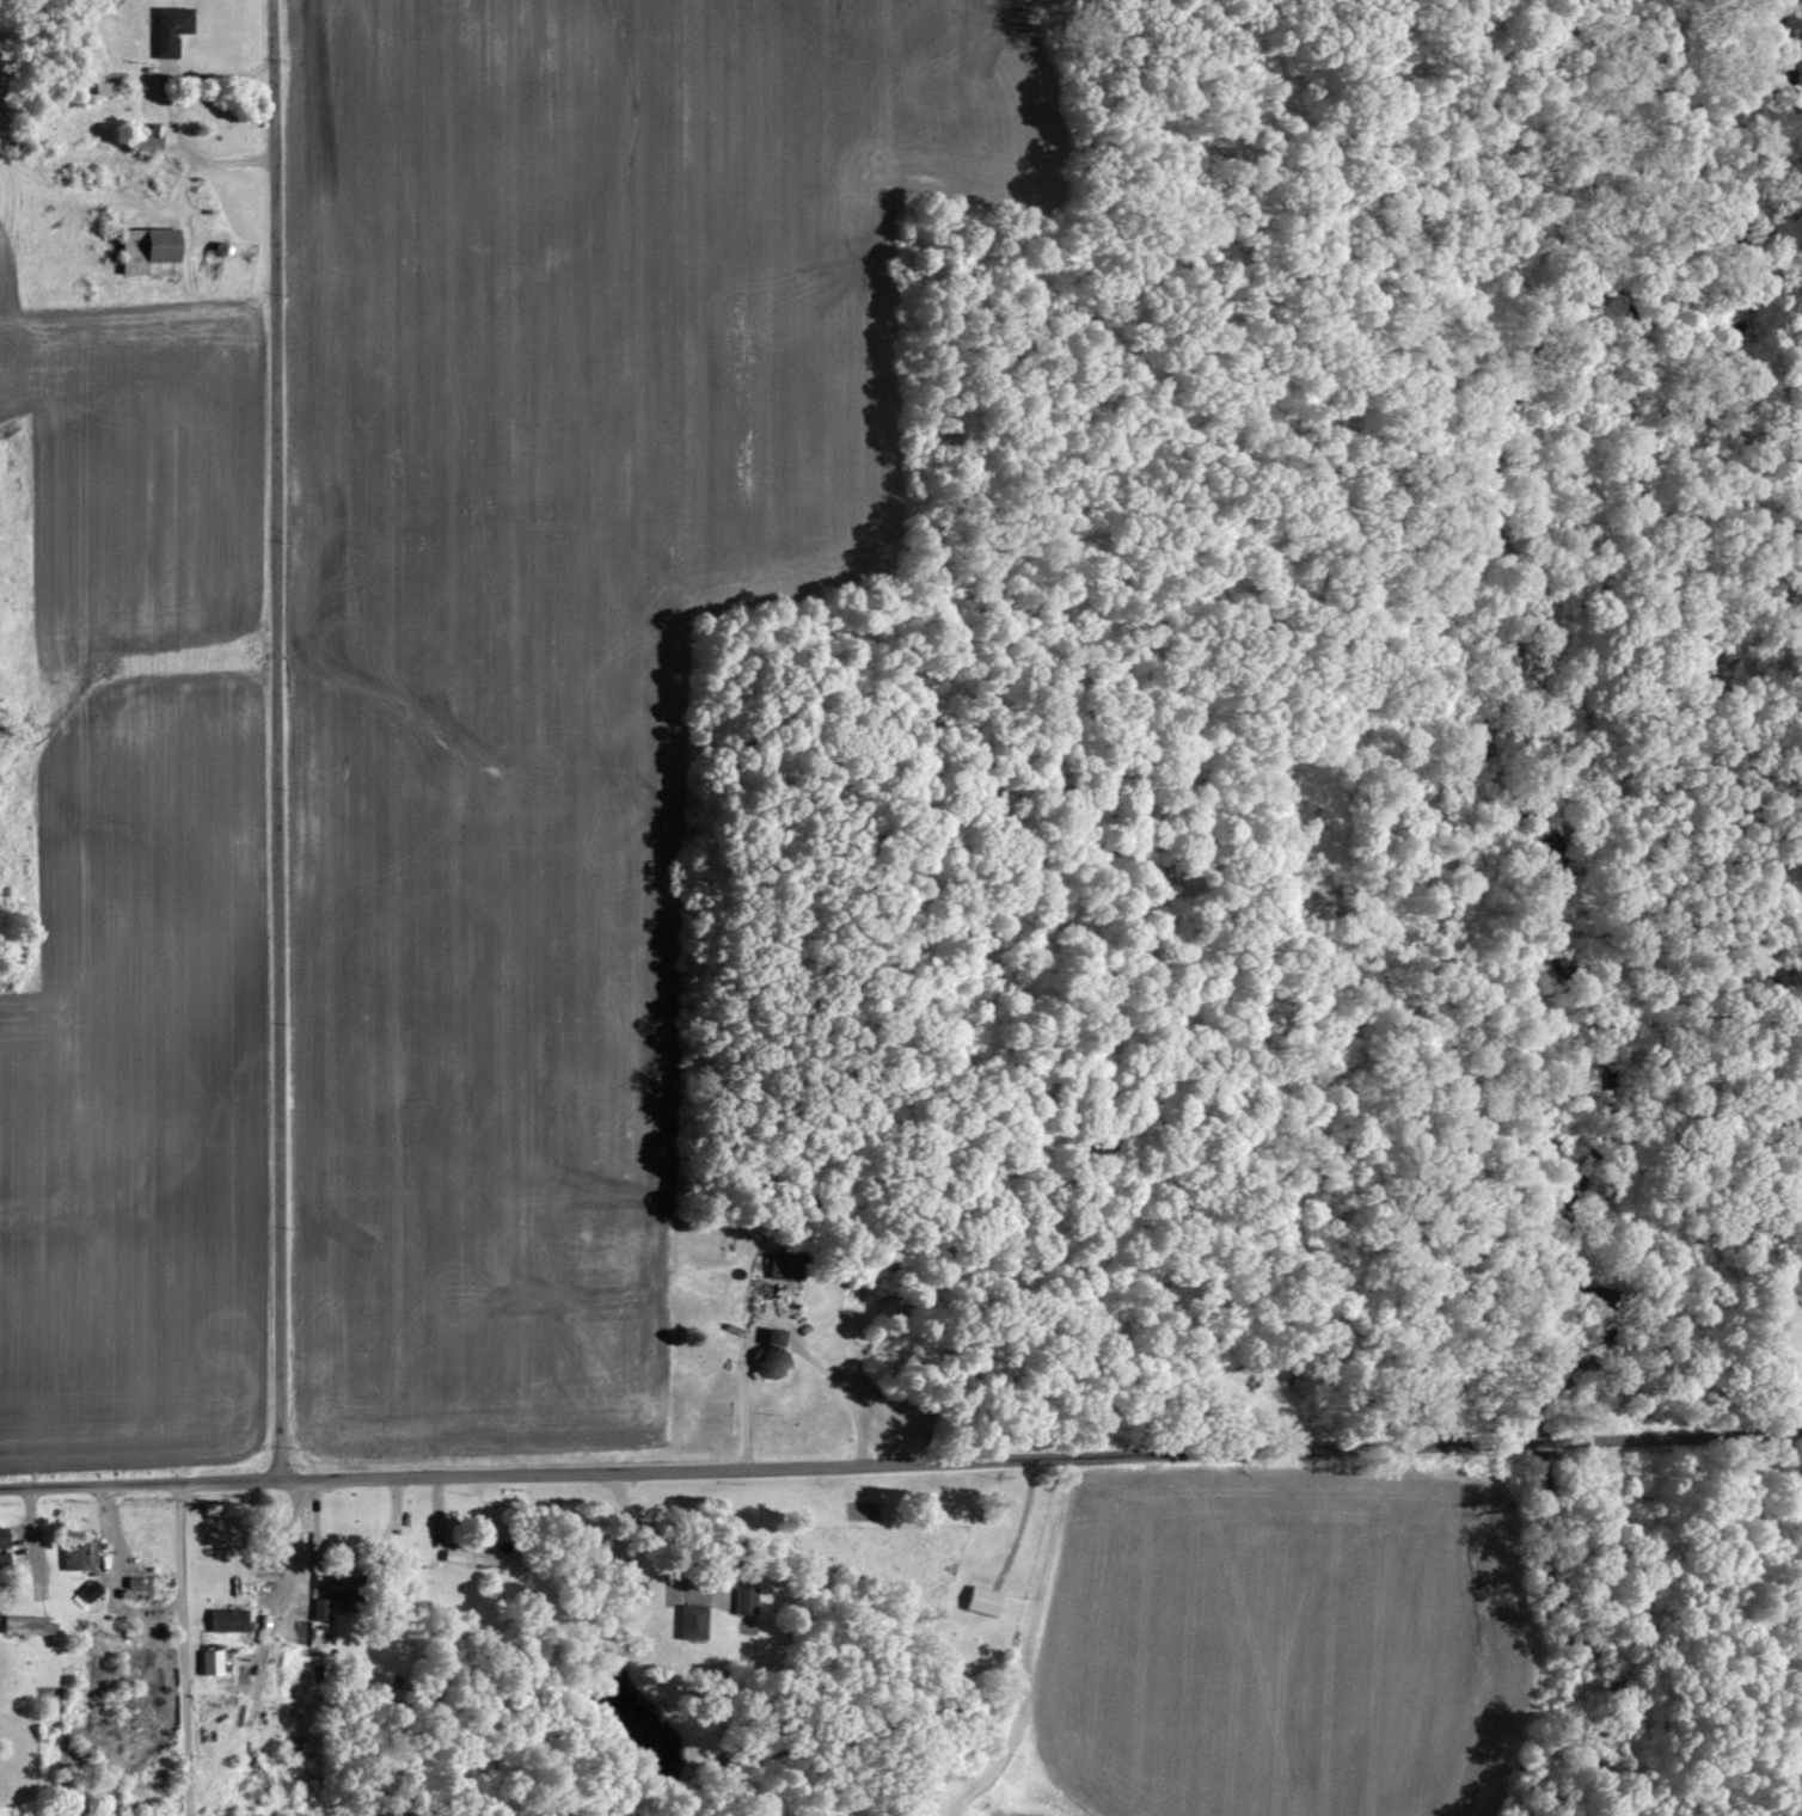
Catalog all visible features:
building: (166, 30)
building: (100, 90)
building: (142, 142)
building: (155, 254)
road: (275, 741)
building: (778, 1265)
building: (767, 1355)
building: (1795, 1373)
road: (1679, 1435)
road: (1539, 1440)
road: (760, 1465)
road: (649, 1551)
building: (466, 1558)
building: (79, 1559)
building: (145, 1588)
building: (741, 1601)
building: (980, 1601)
building: (324, 1611)
building: (231, 1620)
building: (688, 1620)
building: (27, 1625)
road: (182, 1650)
building: (215, 1663)
building: (295, 1744)

